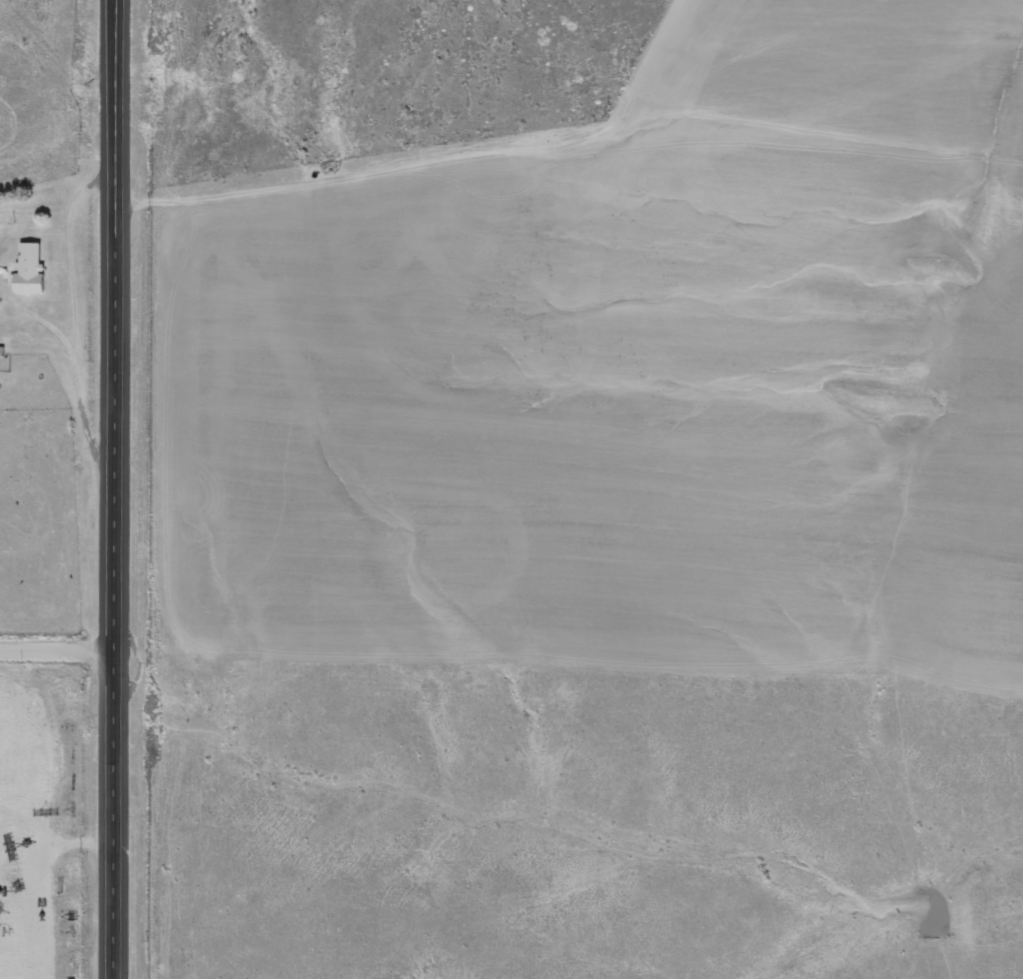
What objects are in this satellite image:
building: (29, 270)
road: (117, 489)
road: (58, 648)

